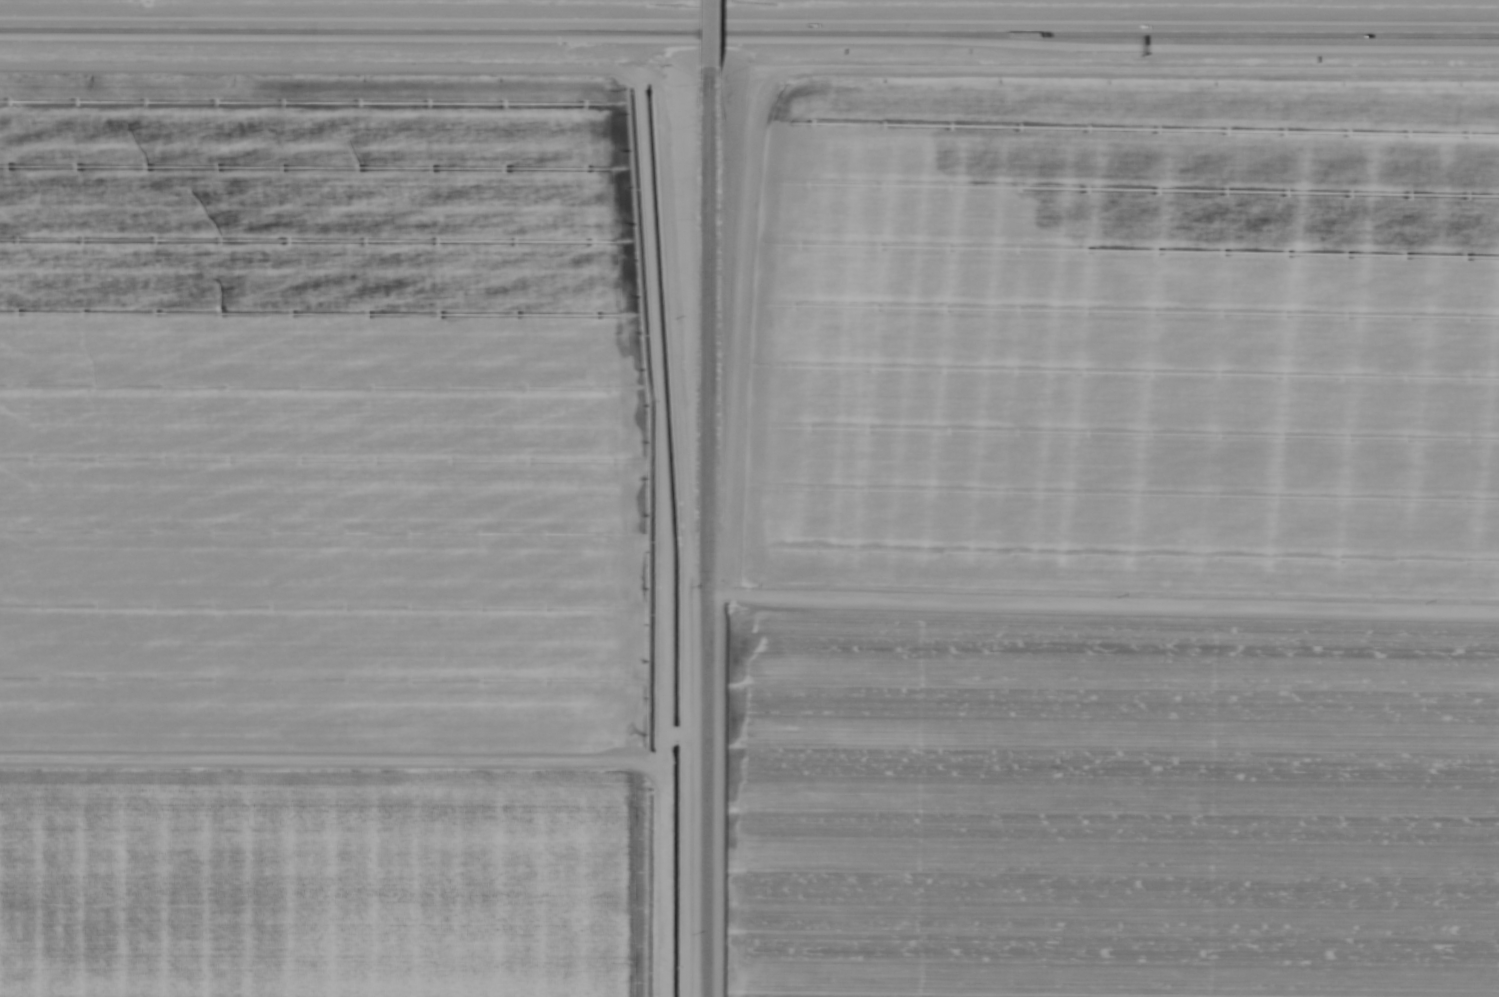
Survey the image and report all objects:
building: (1011, 27)
road: (749, 29)
road: (706, 43)
road: (706, 542)

